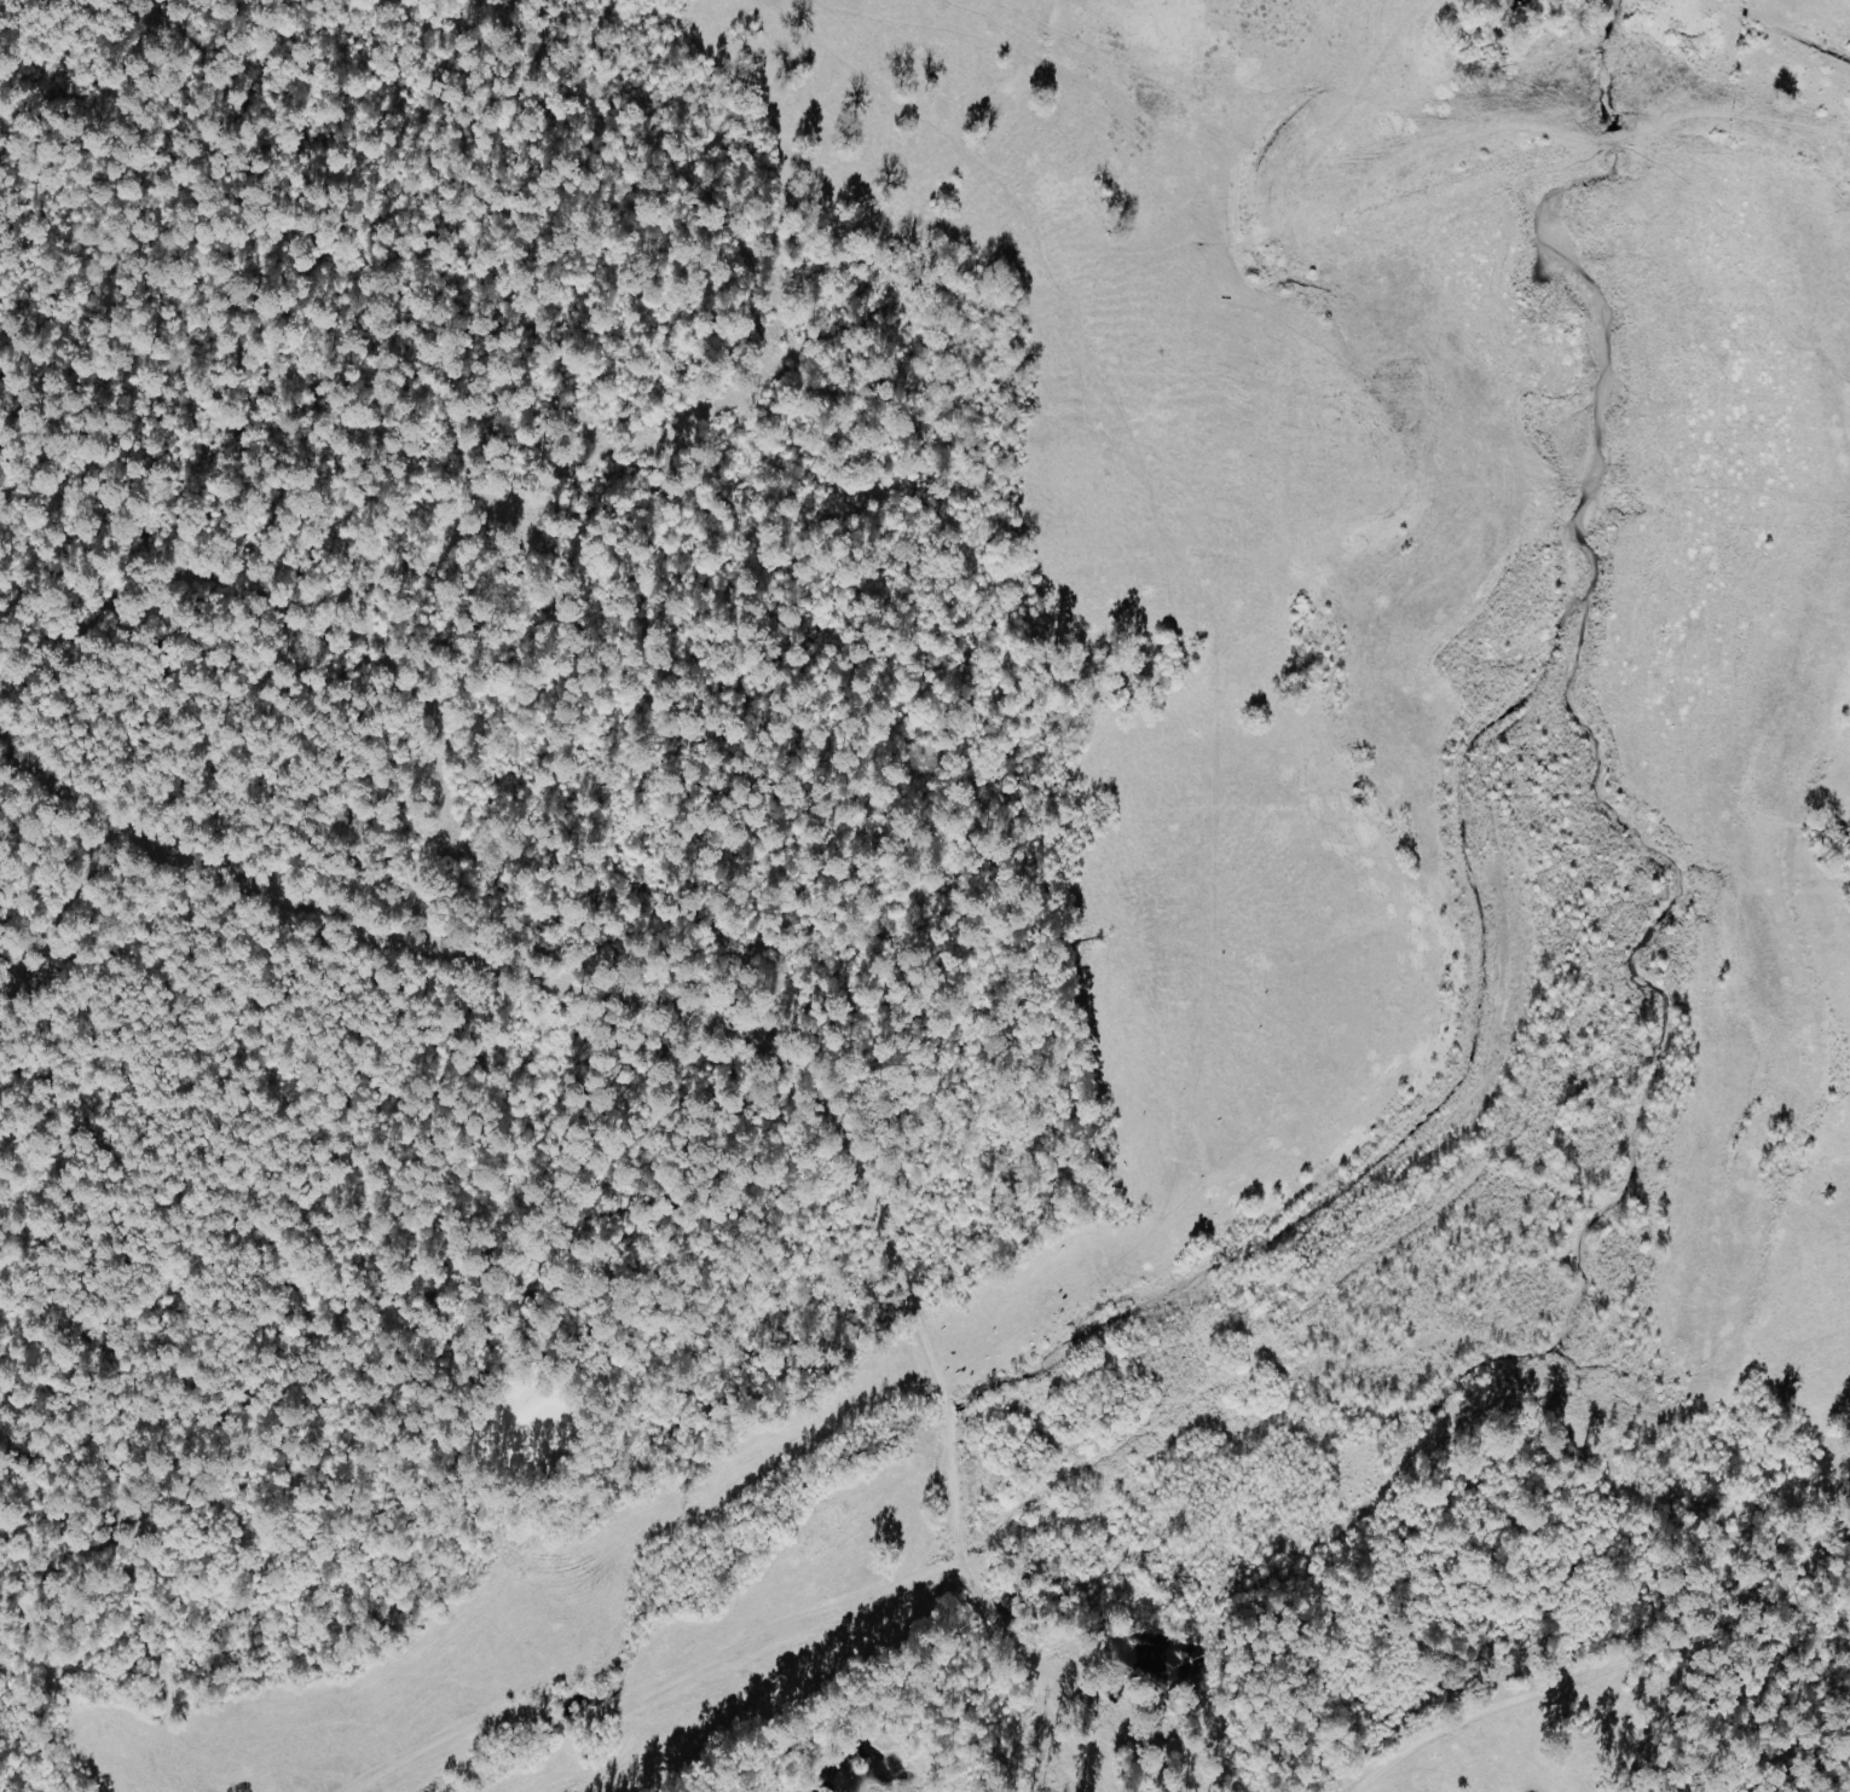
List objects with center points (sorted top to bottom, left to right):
road: (1585, 1648)

